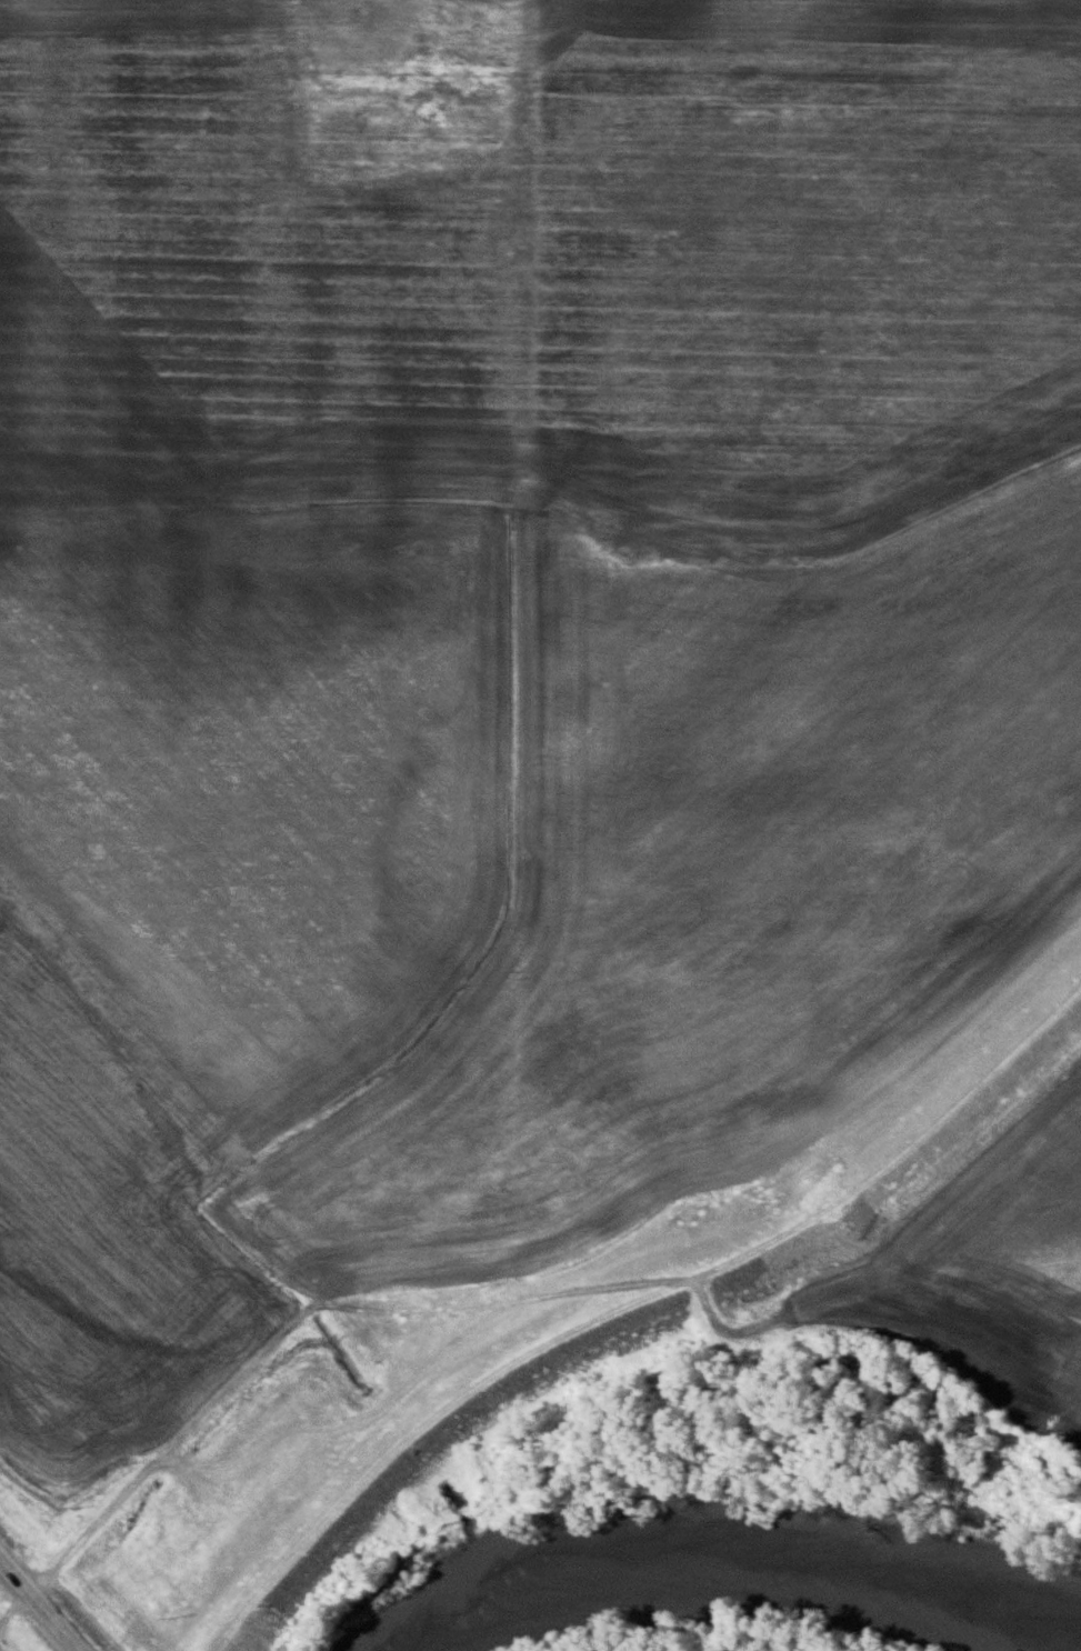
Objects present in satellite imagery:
park: (403, 83)
crop: (493, 681)
river: (744, 1559)
road: (40, 1605)

